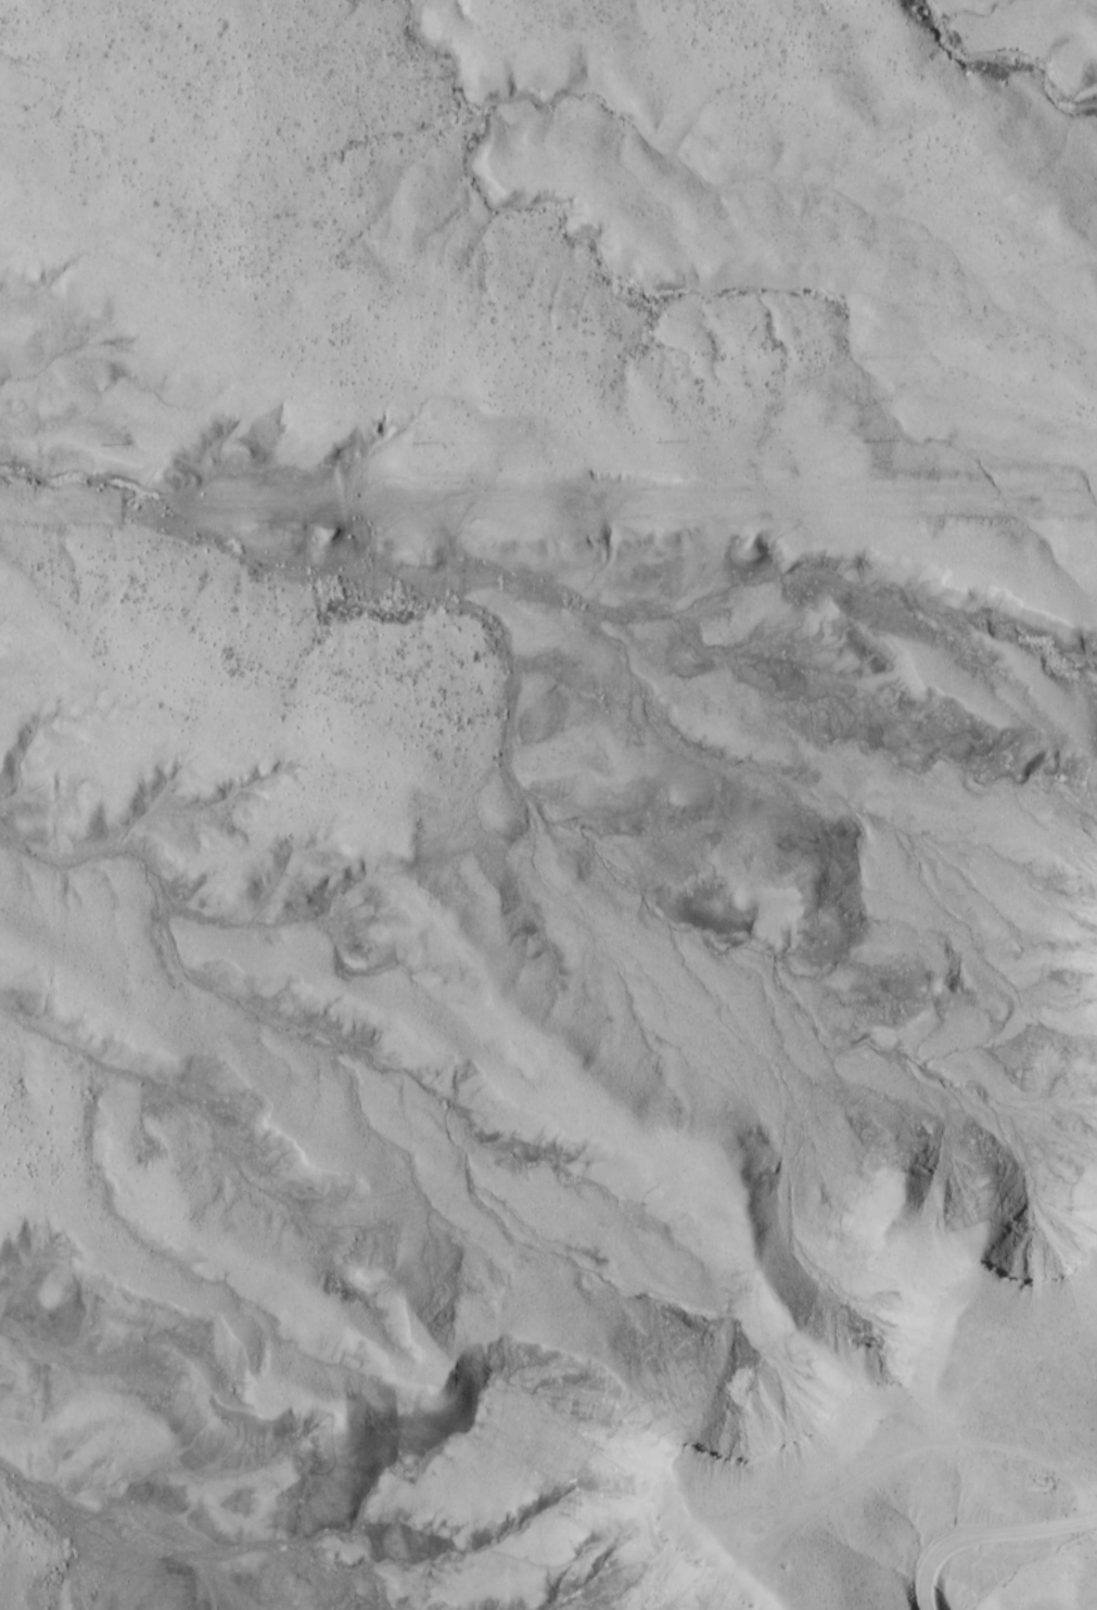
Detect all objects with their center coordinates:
road: (974, 1500)

